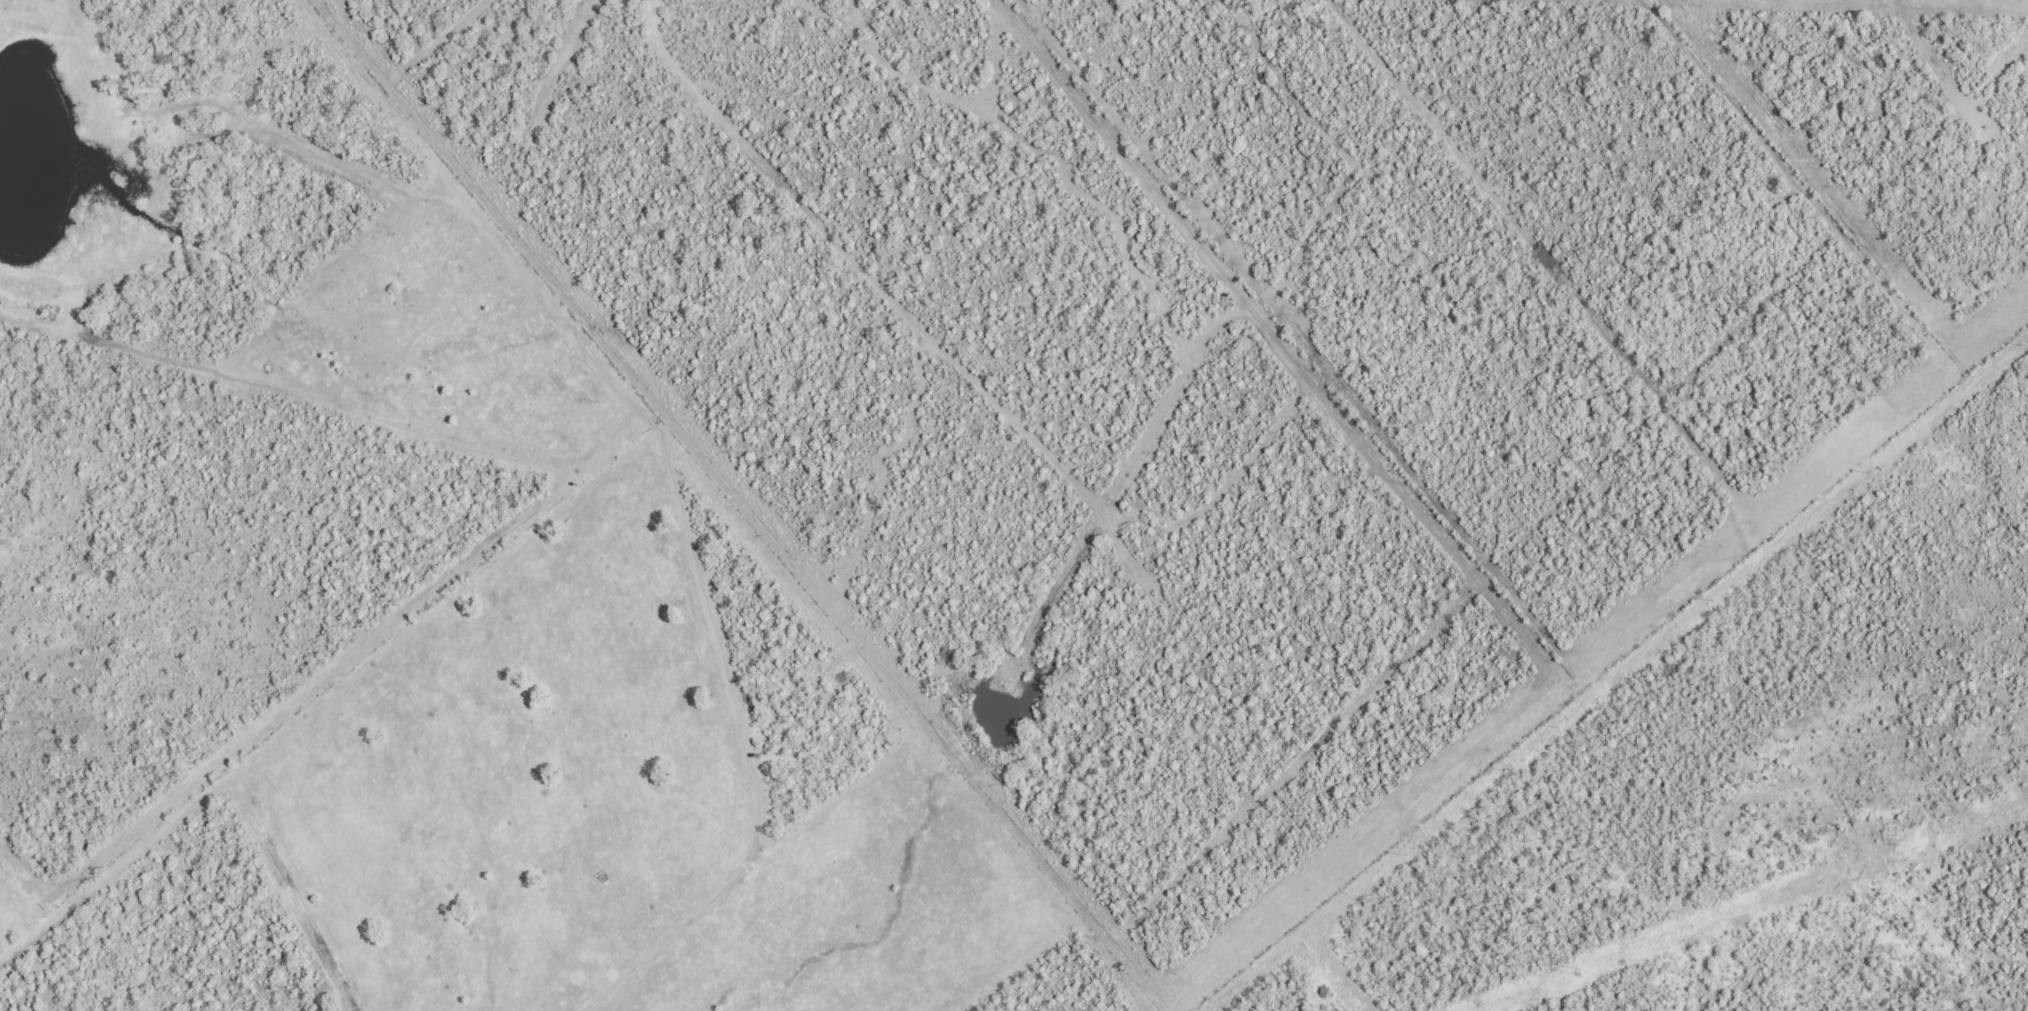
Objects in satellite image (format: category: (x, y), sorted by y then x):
power tower: (1915, 845)
power tower: (1577, 973)

